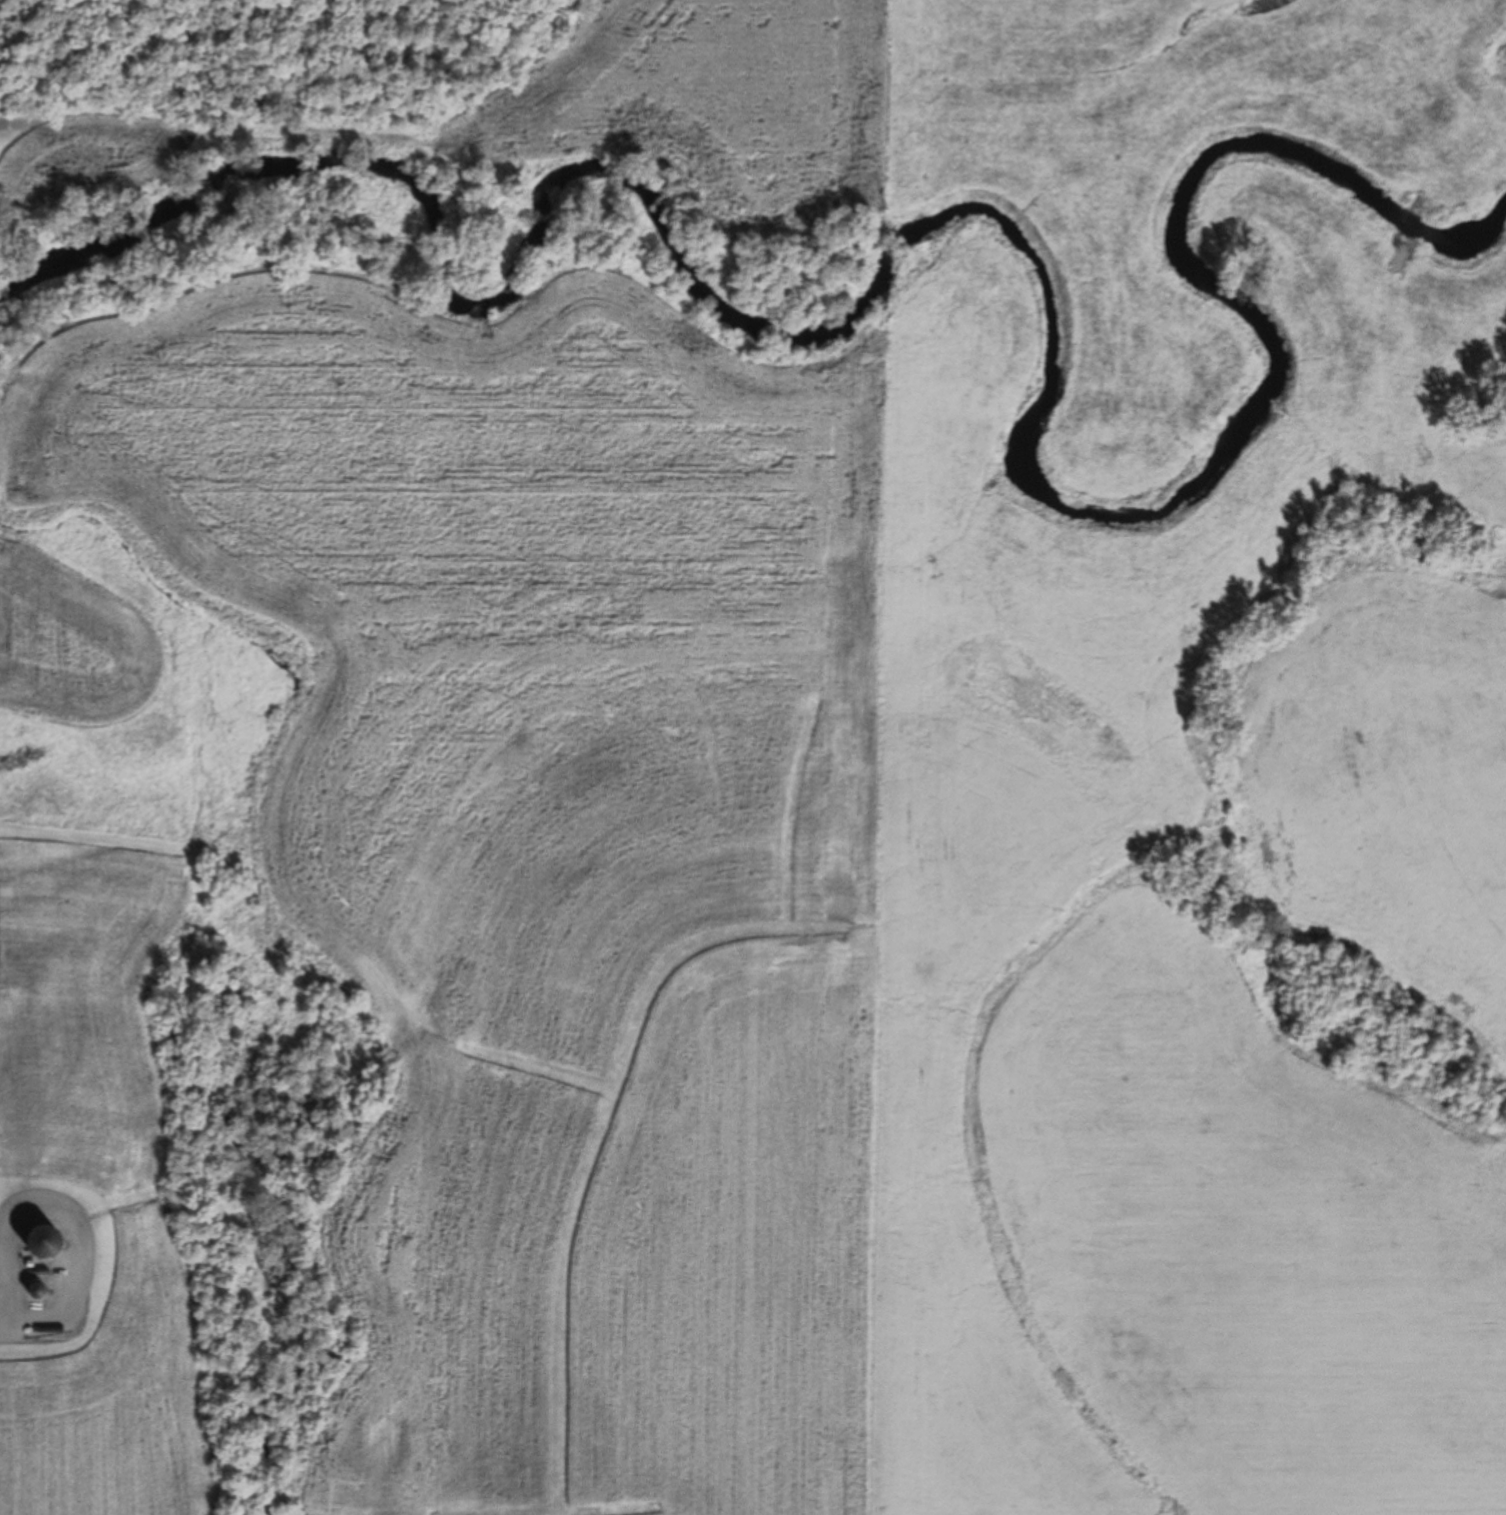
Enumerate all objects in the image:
building: (43, 1241)
building: (36, 1291)

